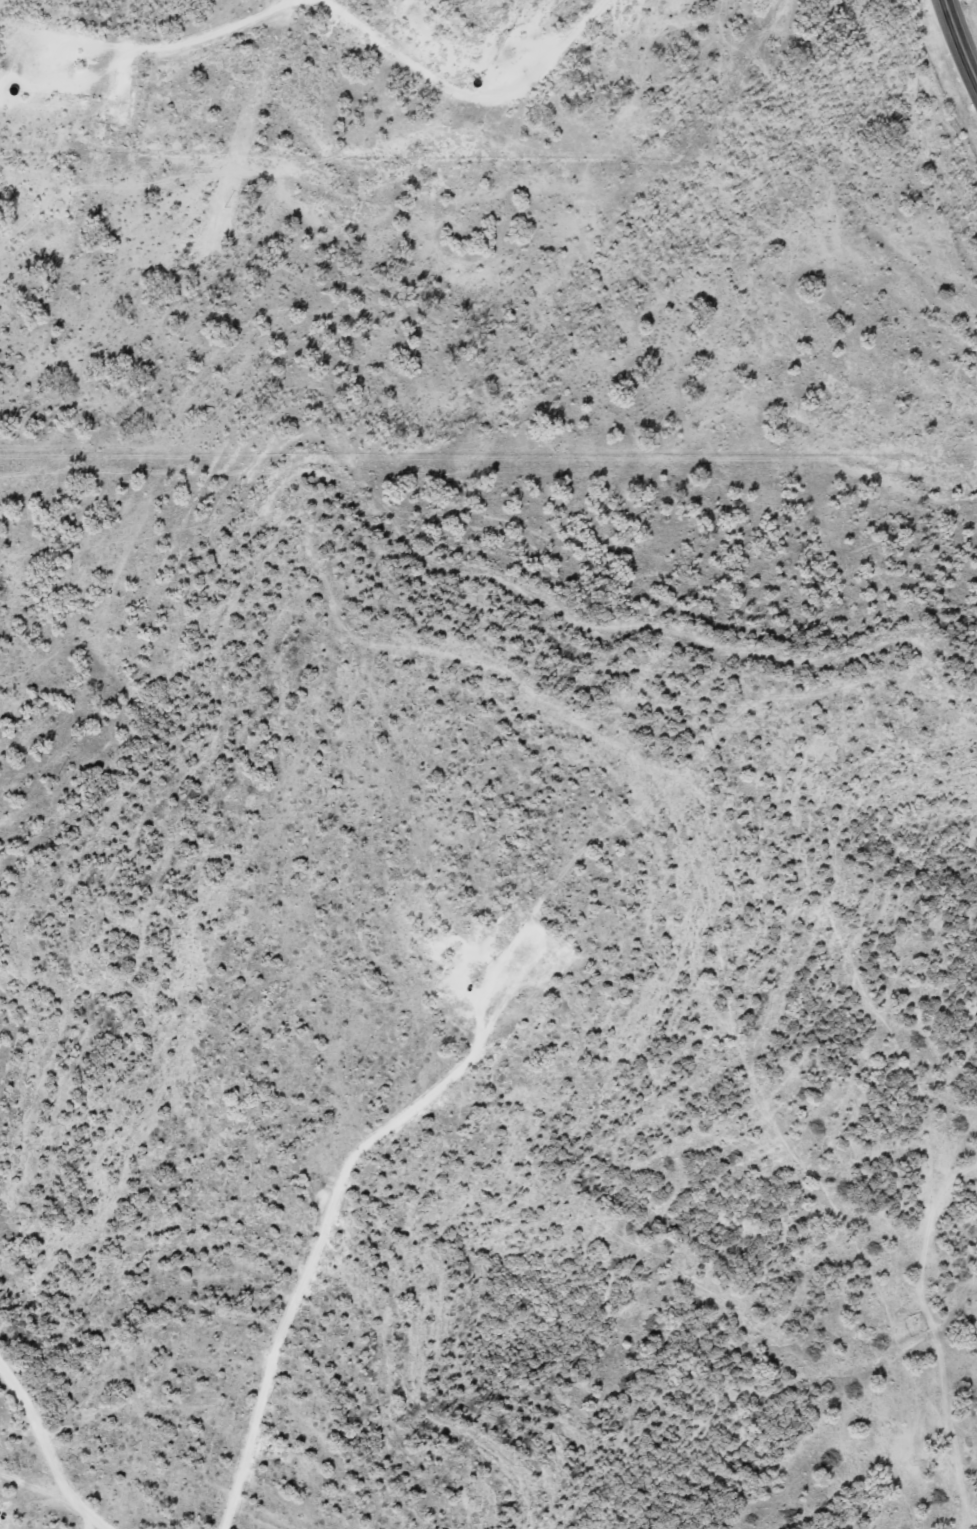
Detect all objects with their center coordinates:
road: (960, 38)
road: (6, 1523)

